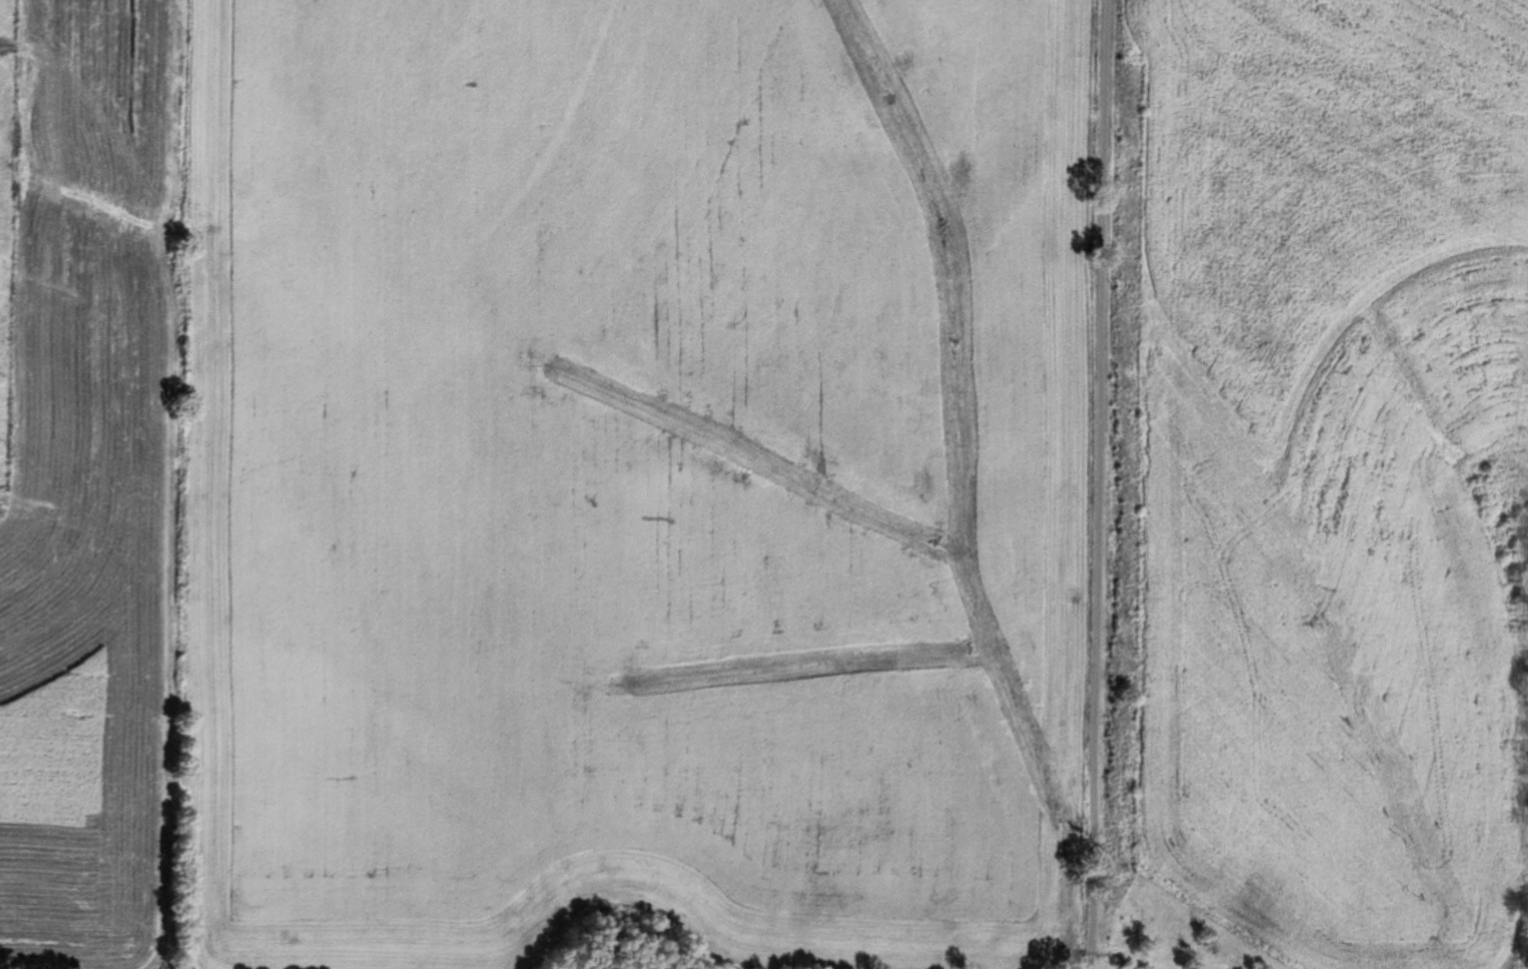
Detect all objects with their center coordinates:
road: (1527, 435)
road: (1098, 484)

